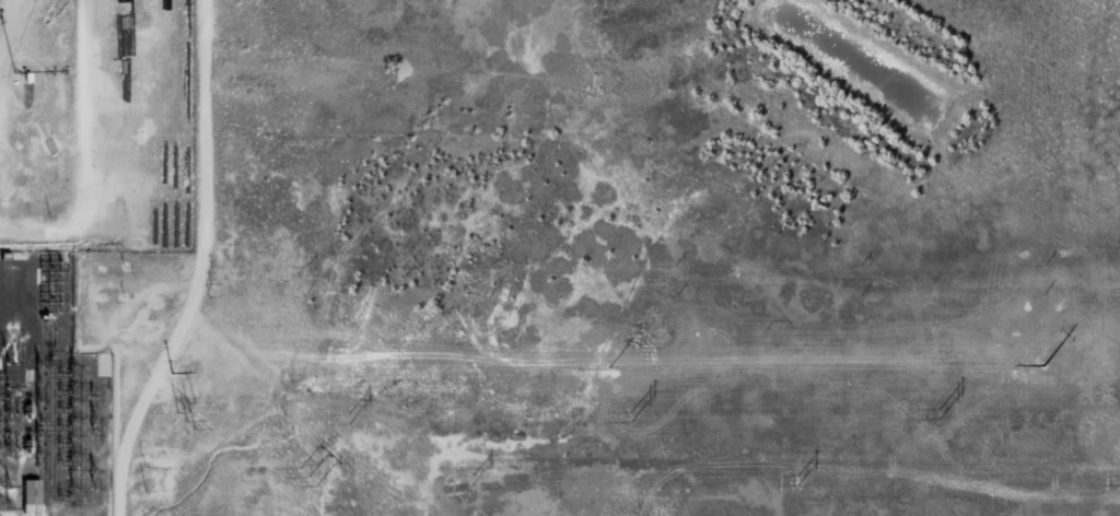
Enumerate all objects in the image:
road: (94, 129)
road: (208, 232)
power substation: (50, 396)
power tower: (938, 415)
power tower: (628, 418)
power tower: (348, 420)
power tower: (189, 425)
power tower: (305, 478)
power tower: (472, 480)
power tower: (797, 480)
building: (30, 496)

